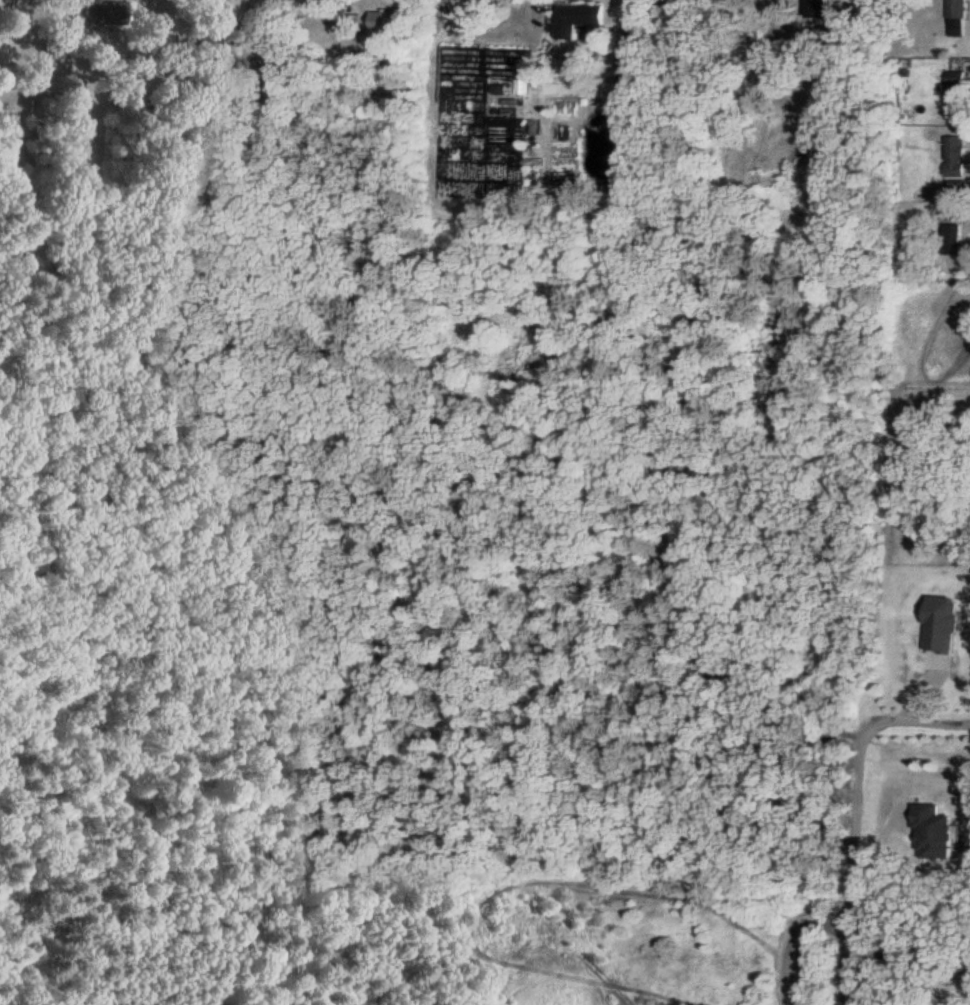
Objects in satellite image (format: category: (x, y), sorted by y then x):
building: (104, 8)
building: (817, 9)
building: (957, 9)
building: (577, 17)
building: (384, 20)
road: (494, 29)
building: (206, 33)
road: (241, 52)
building: (957, 91)
building: (955, 155)
building: (952, 238)
road: (916, 717)
building: (934, 831)
road: (855, 863)
road: (794, 939)
road: (904, 953)

